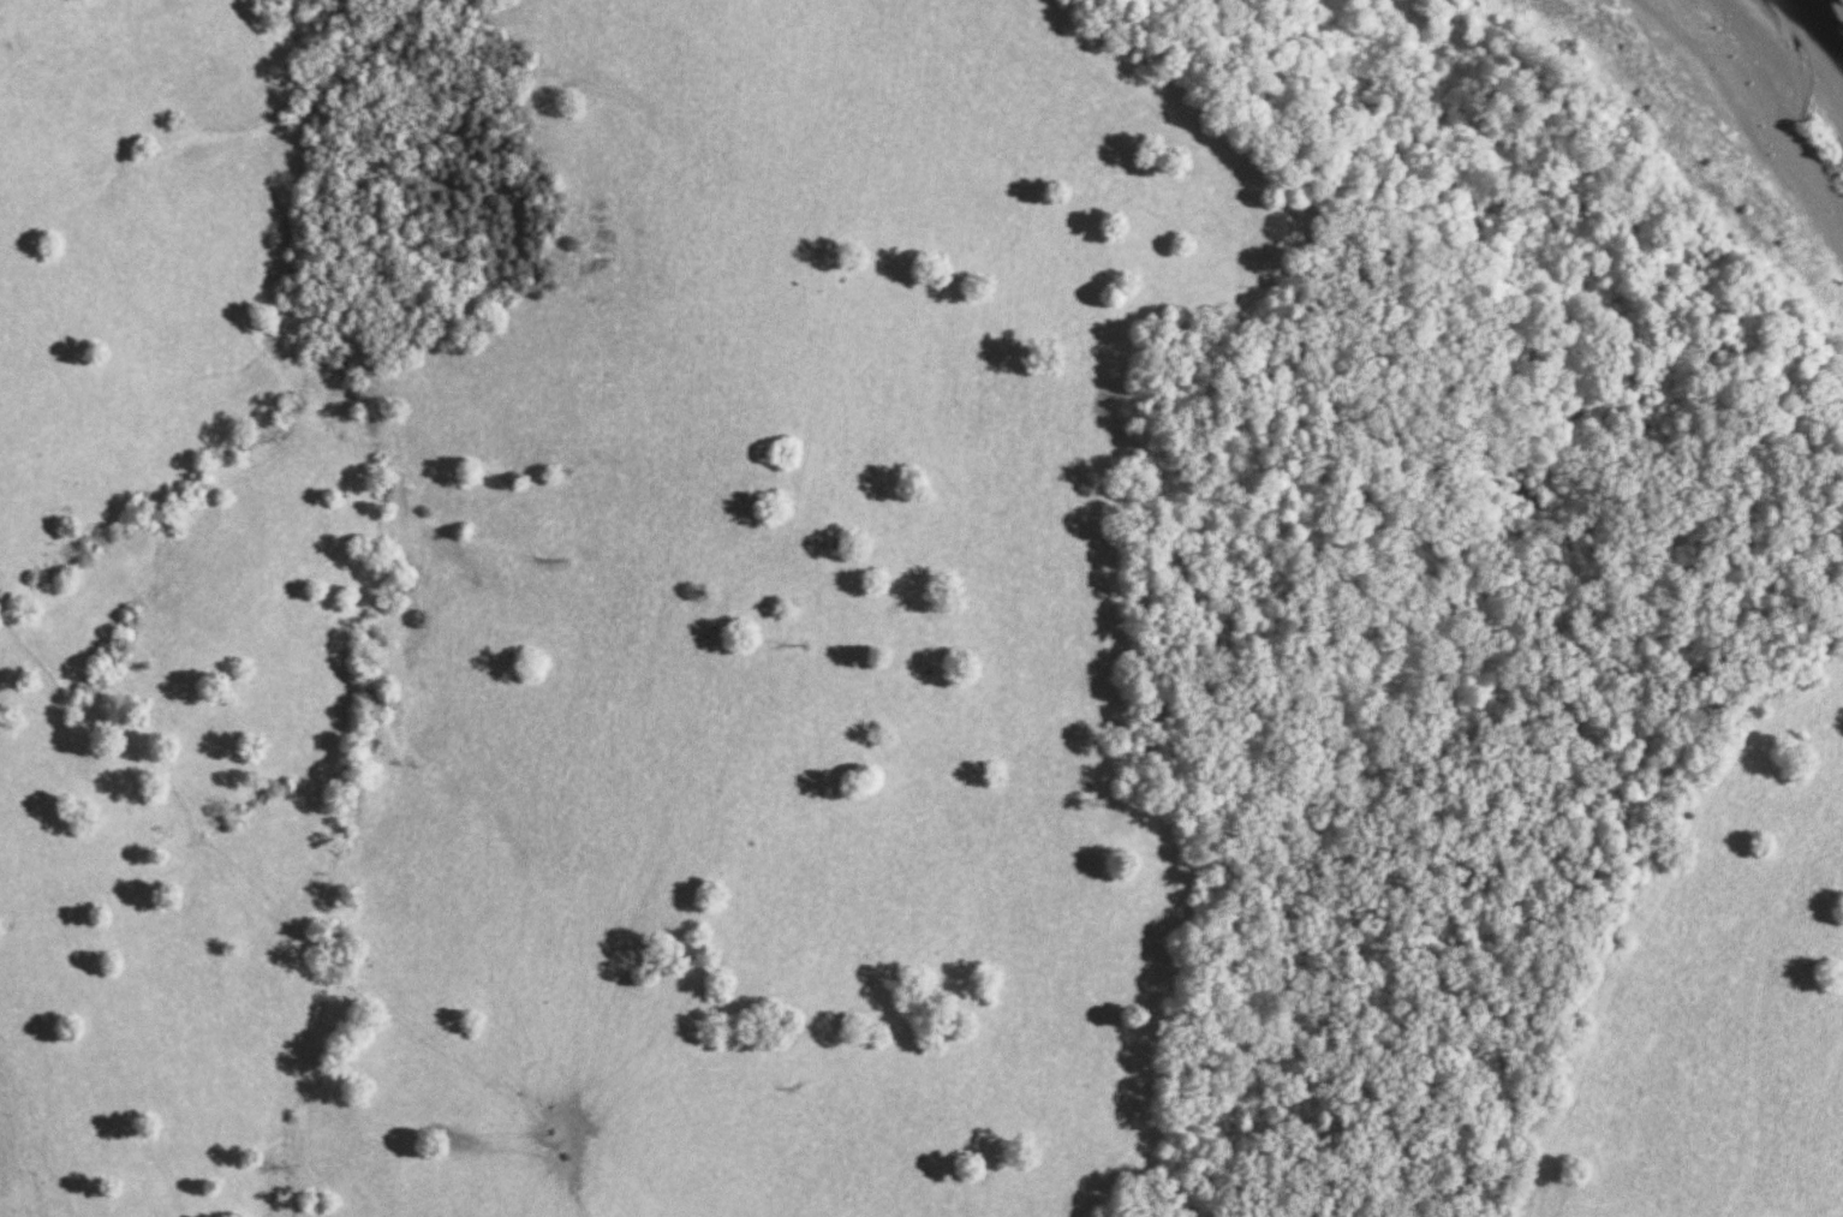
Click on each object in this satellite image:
river: (1808, 35)

